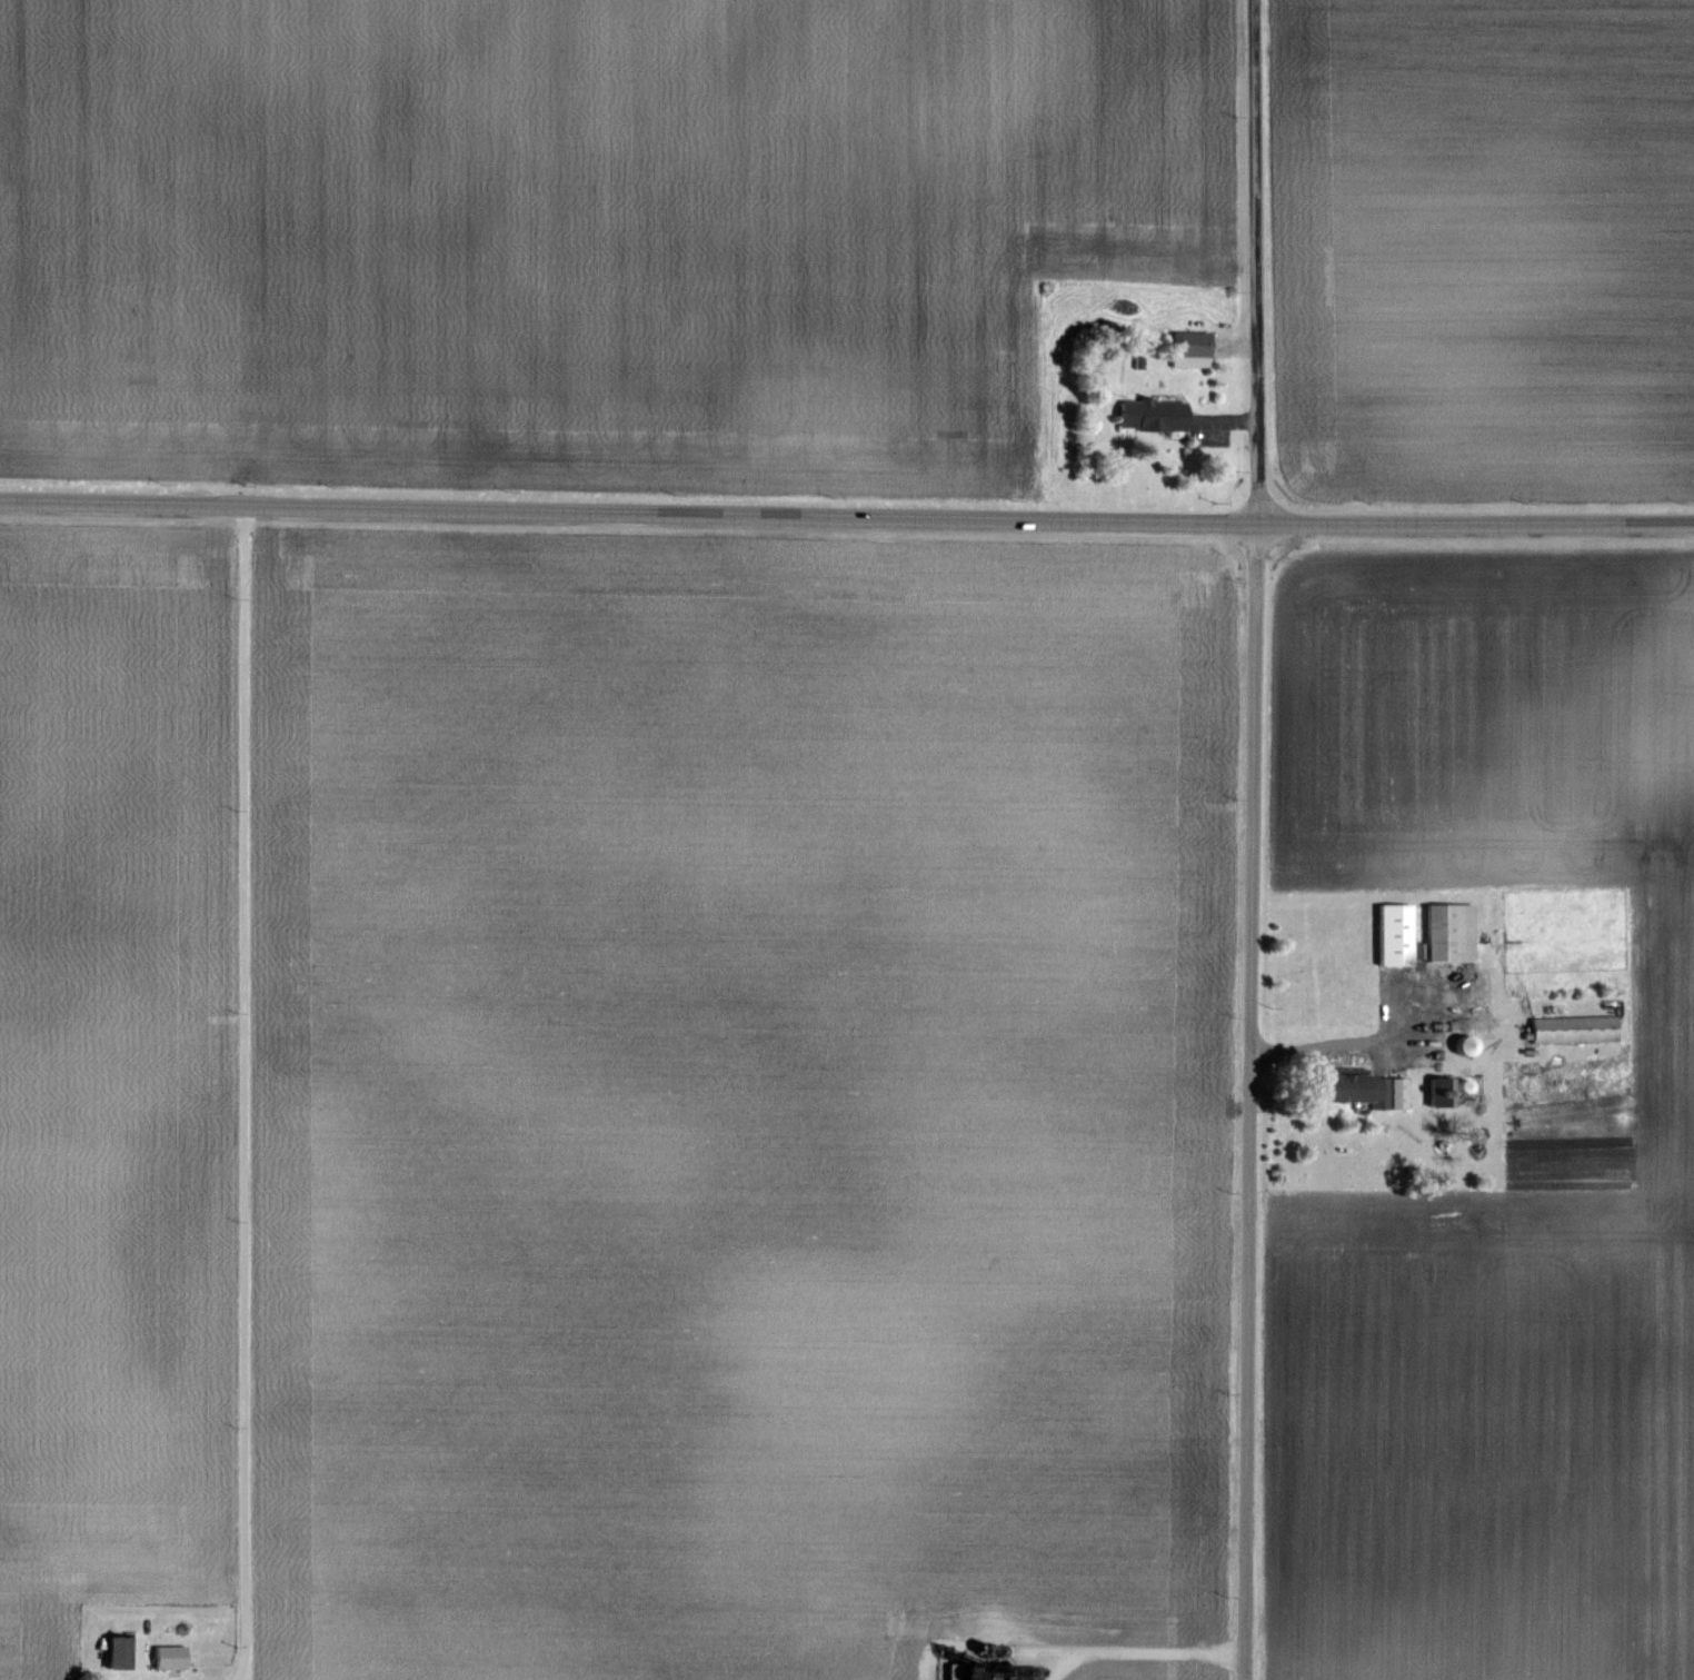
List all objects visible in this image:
building: (1188, 350)
building: (1149, 417)
road: (846, 510)
road: (1252, 839)
building: (1443, 931)
building: (1394, 935)
building: (1572, 1030)
road: (1347, 1044)
building: (1358, 1088)
road: (245, 1091)
building: (1443, 1093)
building: (169, 1658)

